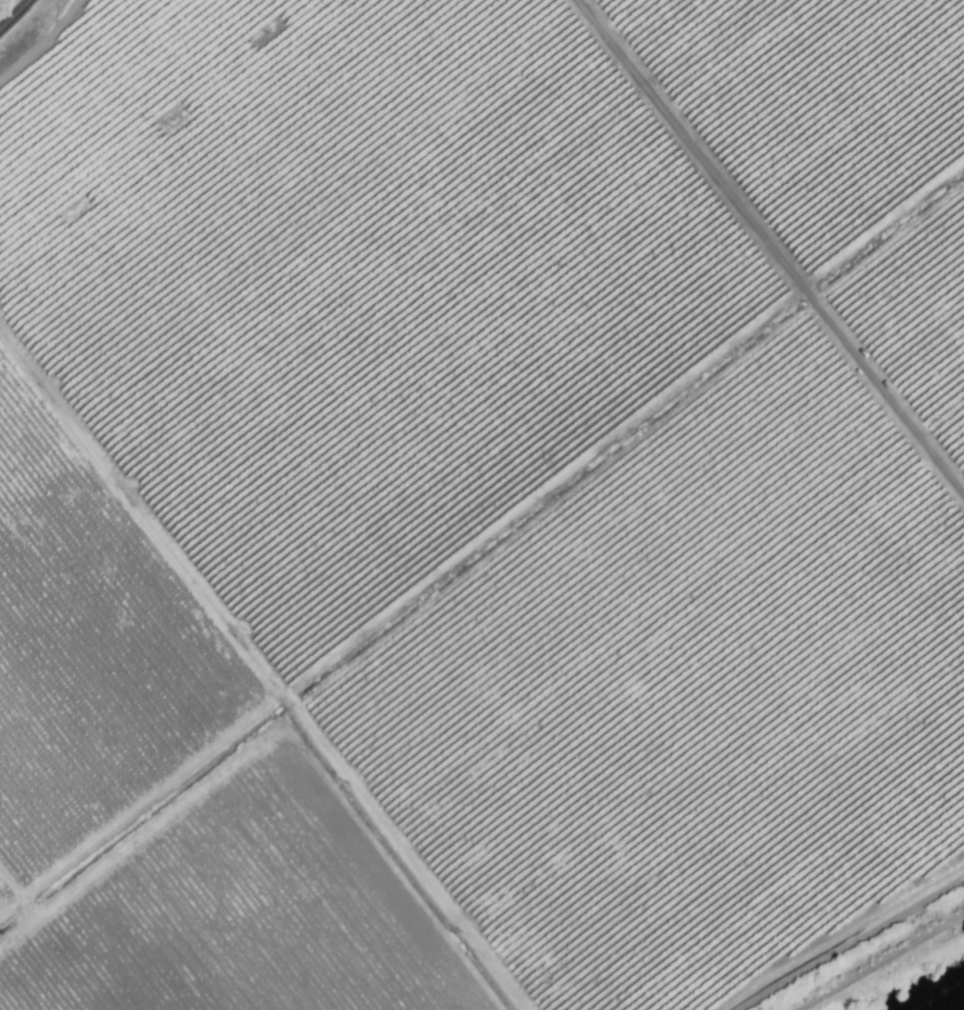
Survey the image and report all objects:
road: (15, 16)
road: (769, 249)
crop: (476, 498)
road: (882, 961)

